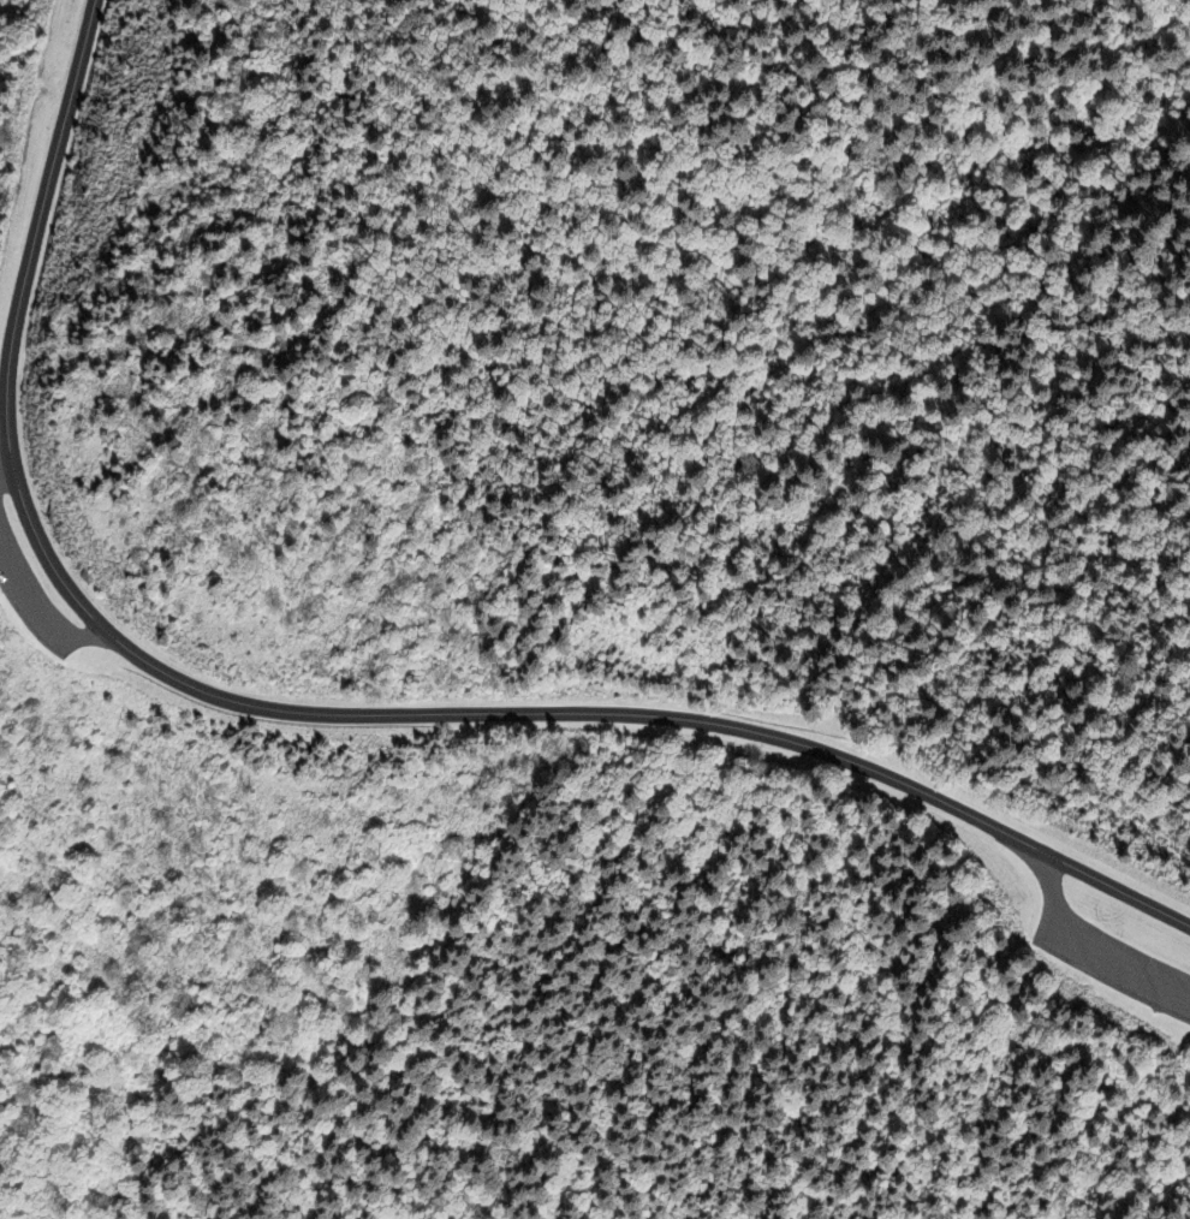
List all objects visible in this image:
road: (5, 472)
road: (31, 525)
road: (40, 614)
road: (856, 768)
road: (1085, 959)

